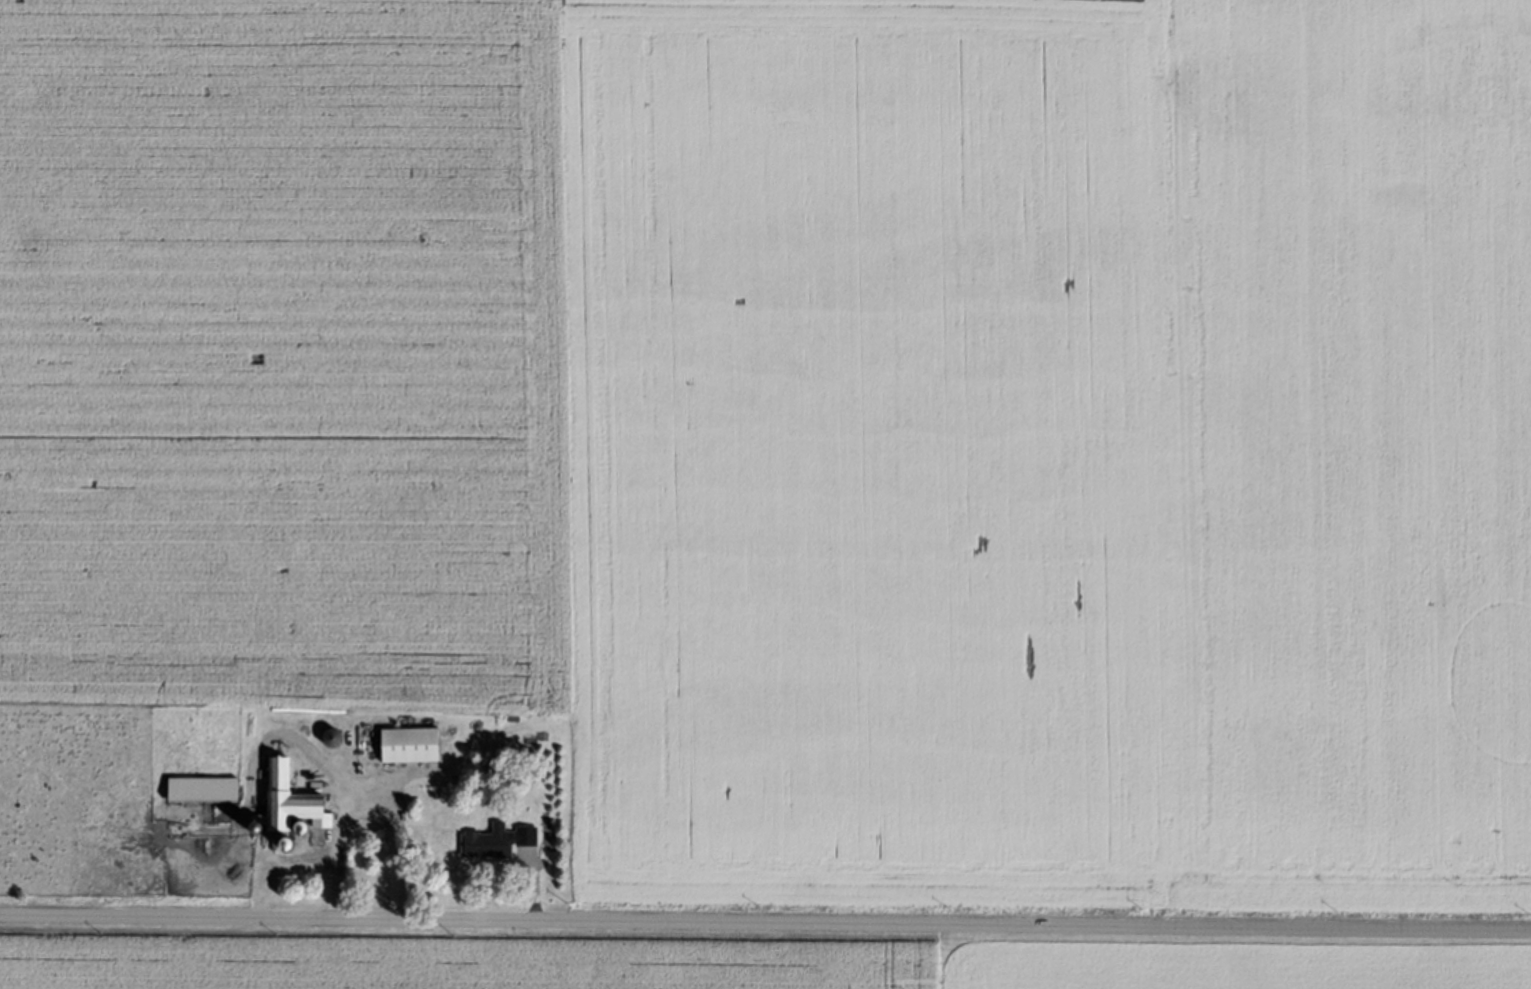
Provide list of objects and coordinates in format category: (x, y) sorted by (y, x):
building: (337, 738)
building: (415, 745)
building: (207, 790)
building: (294, 804)
building: (501, 840)
road: (765, 933)

